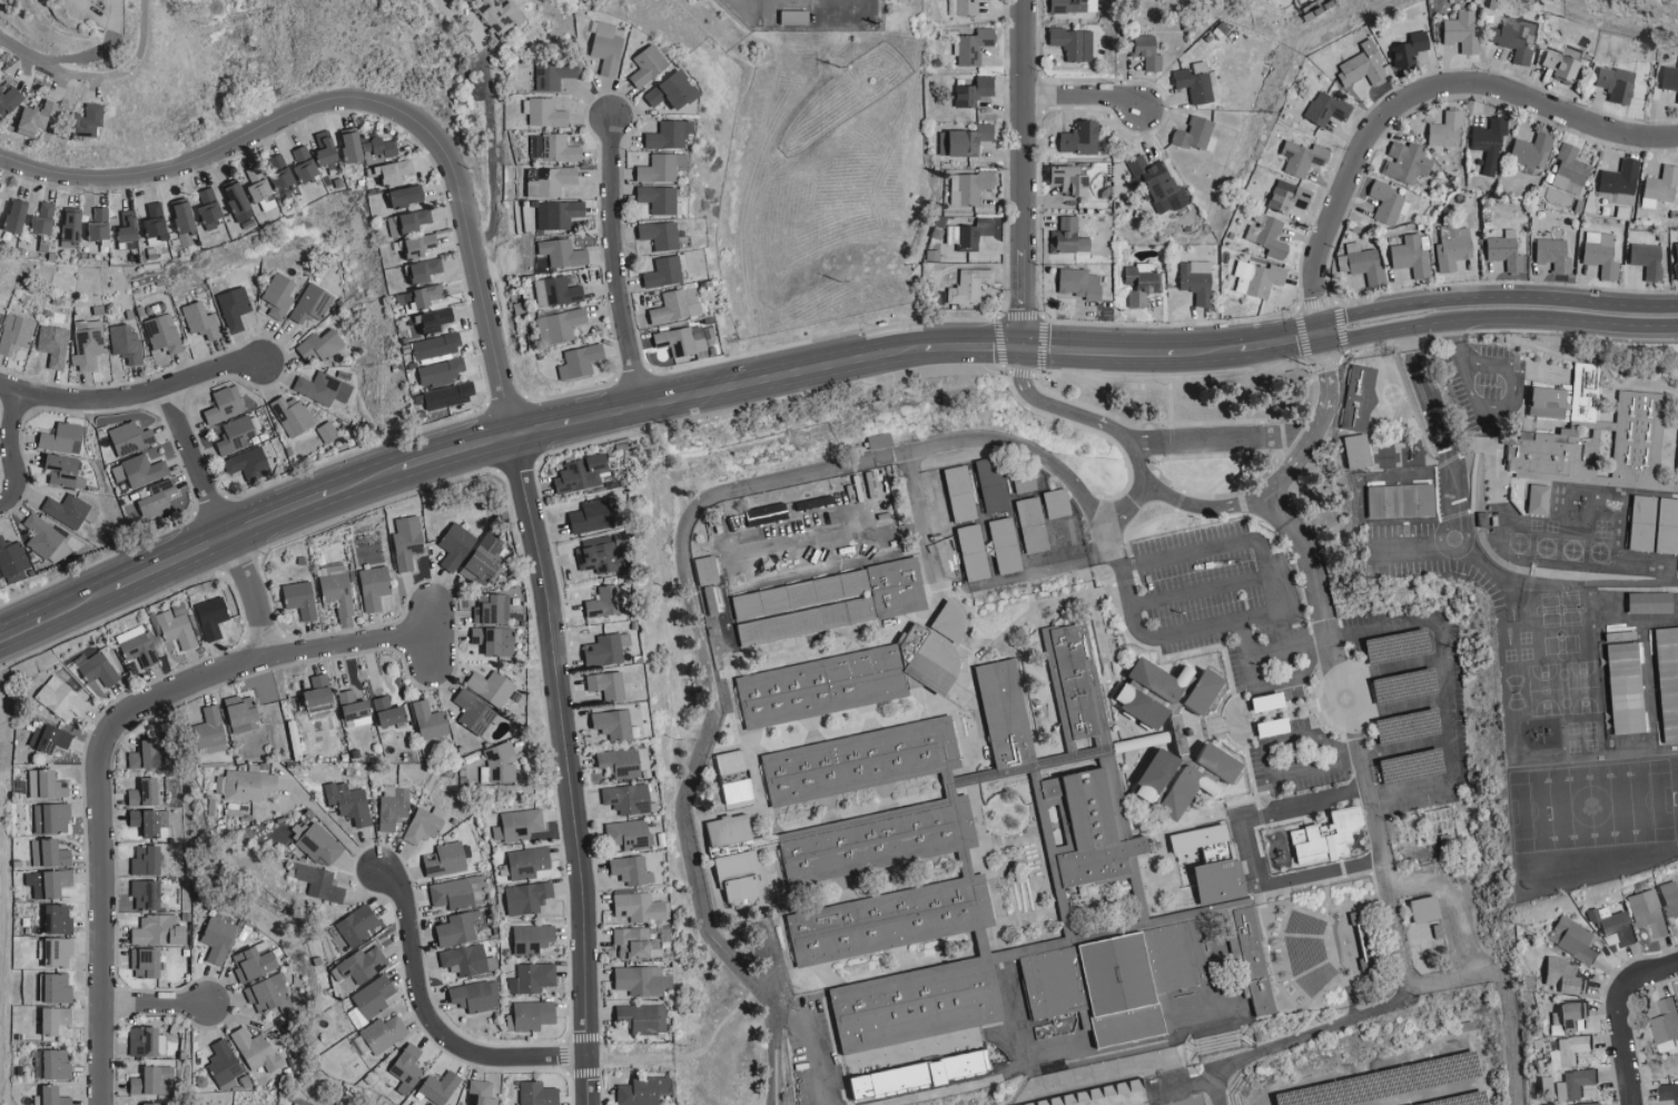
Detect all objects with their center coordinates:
building: (1070, 6)
building: (961, 7)
building: (495, 14)
power substation: (810, 14)
building: (1458, 31)
building: (1512, 40)
building: (1069, 42)
building: (970, 46)
building: (602, 47)
building: (1405, 49)
building: (1143, 51)
road: (93, 53)
building: (1559, 62)
building: (641, 65)
building: (1360, 66)
road: (98, 73)
building: (549, 73)
building: (1668, 78)
building: (1612, 82)
road: (375, 86)
building: (664, 90)
road: (1418, 95)
building: (8, 97)
road: (1087, 97)
building: (1323, 108)
building: (541, 112)
building: (30, 117)
building: (81, 118)
building: (1443, 130)
building: (664, 134)
building: (1193, 135)
building: (1076, 138)
building: (963, 140)
building: (1485, 141)
road: (488, 147)
building: (551, 147)
building: (375, 148)
building: (1529, 149)
building: (322, 151)
building: (1299, 157)
building: (1403, 161)
building: (657, 167)
building: (1566, 170)
building: (385, 171)
building: (276, 174)
road: (1025, 174)
road: (761, 179)
building: (544, 180)
building: (1067, 181)
building: (1618, 181)
building: (1155, 185)
building: (967, 186)
building: (256, 187)
building: (1656, 187)
building: (0, 194)
building: (399, 195)
building: (1284, 196)
building: (654, 198)
building: (1382, 201)
building: (235, 204)
building: (205, 208)
building: (554, 214)
building: (11, 215)
building: (175, 216)
building: (37, 220)
building: (406, 220)
building: (148, 221)
building: (67, 226)
building: (657, 234)
building: (966, 234)
building: (1263, 235)
building: (1067, 236)
building: (413, 244)
building: (1449, 247)
building: (1501, 250)
building: (557, 253)
road: (621, 253)
building: (1596, 253)
building: (1549, 255)
building: (1408, 256)
building: (1644, 258)
building: (1674, 258)
building: (1360, 264)
building: (417, 270)
building: (661, 272)
building: (1254, 278)
building: (1193, 279)
building: (1074, 283)
building: (967, 285)
building: (1138, 285)
building: (553, 290)
building: (423, 294)
building: (275, 295)
building: (307, 303)
building: (672, 305)
building: (230, 307)
road: (1499, 308)
building: (0, 314)
building: (428, 319)
building: (197, 320)
building: (556, 325)
building: (14, 333)
building: (161, 333)
road: (1451, 336)
building: (678, 339)
building: (50, 345)
building: (122, 345)
building: (316, 345)
building: (86, 346)
building: (433, 346)
road: (1173, 351)
building: (578, 359)
building: (435, 372)
building: (318, 387)
building: (441, 395)
road: (135, 397)
building: (221, 404)
building: (1588, 404)
road: (1057, 407)
road: (1510, 408)
building: (1550, 408)
building: (289, 414)
building: (1359, 420)
road: (1438, 426)
building: (324, 431)
building: (230, 435)
road: (1221, 436)
building: (58, 437)
building: (125, 438)
road: (497, 442)
building: (1641, 450)
road: (18, 453)
building: (1554, 461)
building: (246, 463)
building: (138, 470)
building: (60, 471)
building: (576, 474)
road: (1282, 474)
building: (1025, 485)
building: (1372, 490)
building: (995, 492)
road: (1138, 494)
building: (1404, 494)
building: (148, 500)
building: (1055, 503)
building: (1541, 506)
building: (66, 510)
road: (699, 514)
building: (583, 517)
building: (881, 519)
road: (221, 522)
building: (948, 522)
building: (1028, 524)
building: (1405, 526)
building: (38, 534)
building: (1655, 534)
building: (1608, 539)
building: (788, 540)
building: (403, 542)
building: (491, 542)
road: (1453, 542)
building: (452, 545)
building: (1001, 545)
road: (1454, 547)
road: (1207, 549)
building: (55, 552)
building: (969, 552)
building: (594, 556)
building: (11, 558)
building: (474, 568)
building: (701, 570)
building: (709, 579)
building: (369, 588)
building: (333, 589)
road: (1210, 589)
building: (297, 599)
building: (599, 603)
building: (490, 609)
building: (830, 612)
road: (1269, 612)
building: (1638, 612)
building: (207, 618)
building: (175, 628)
building: (1616, 637)
building: (494, 641)
building: (135, 645)
road: (1312, 648)
building: (602, 649)
road: (1281, 649)
building: (1637, 650)
building: (97, 669)
road: (1389, 670)
building: (988, 672)
building: (857, 682)
building: (604, 684)
building: (1647, 687)
building: (487, 688)
building: (1620, 688)
building: (319, 692)
building: (61, 698)
road: (1394, 710)
building: (389, 711)
building: (243, 712)
building: (473, 712)
building: (1007, 718)
building: (431, 720)
building: (608, 723)
building: (209, 731)
building: (50, 738)
building: (1175, 738)
road: (105, 747)
building: (146, 754)
building: (615, 761)
building: (499, 763)
road: (566, 769)
road: (1300, 770)
building: (734, 780)
building: (46, 783)
building: (246, 785)
building: (146, 792)
building: (626, 798)
building: (348, 801)
building: (393, 806)
building: (51, 818)
building: (146, 820)
building: (424, 825)
building: (517, 825)
road: (335, 830)
building: (727, 830)
building: (1299, 831)
building: (625, 833)
building: (1193, 838)
building: (316, 840)
road: (1372, 843)
road: (1248, 847)
building: (49, 852)
building: (447, 858)
building: (147, 859)
building: (529, 860)
building: (1423, 860)
building: (631, 869)
building: (1099, 877)
building: (737, 878)
building: (317, 881)
building: (1212, 881)
building: (49, 882)
building: (966, 888)
building: (1162, 890)
building: (457, 891)
building: (147, 894)
building: (527, 897)
building: (1669, 898)
building: (640, 906)
building: (1422, 909)
building: (1647, 912)
building: (58, 918)
building: (356, 925)
building: (1611, 926)
building: (460, 927)
building: (159, 929)
building: (218, 938)
building: (532, 938)
building: (1572, 939)
building: (636, 941)
building: (58, 949)
building: (1010, 953)
building: (1358, 955)
building: (1254, 957)
building: (465, 959)
building: (147, 961)
building: (254, 963)
building: (364, 964)
building: (1560, 976)
building: (532, 977)
building: (639, 979)
road: (1654, 980)
building: (55, 987)
building: (268, 994)
building: (475, 995)
building: (374, 996)
road: (159, 1005)
road: (788, 1007)
building: (56, 1018)
building: (642, 1018)
building: (1569, 1018)
road: (431, 1020)
building: (1666, 1024)
building: (384, 1032)
road: (1295, 1037)
building: (144, 1040)
road: (1621, 1048)
building: (256, 1049)
building: (1567, 1050)
road: (771, 1052)
building: (223, 1062)
building: (57, 1063)
building: (407, 1068)
building: (917, 1073)
building: (152, 1079)
building: (1572, 1084)
building: (440, 1087)
building: (643, 1091)
building: (1667, 1092)
building: (481, 1093)
building: (537, 1094)
building: (51, 1096)
building: (151, 1103)
building: (295, 1104)
building: (1587, 1104)

